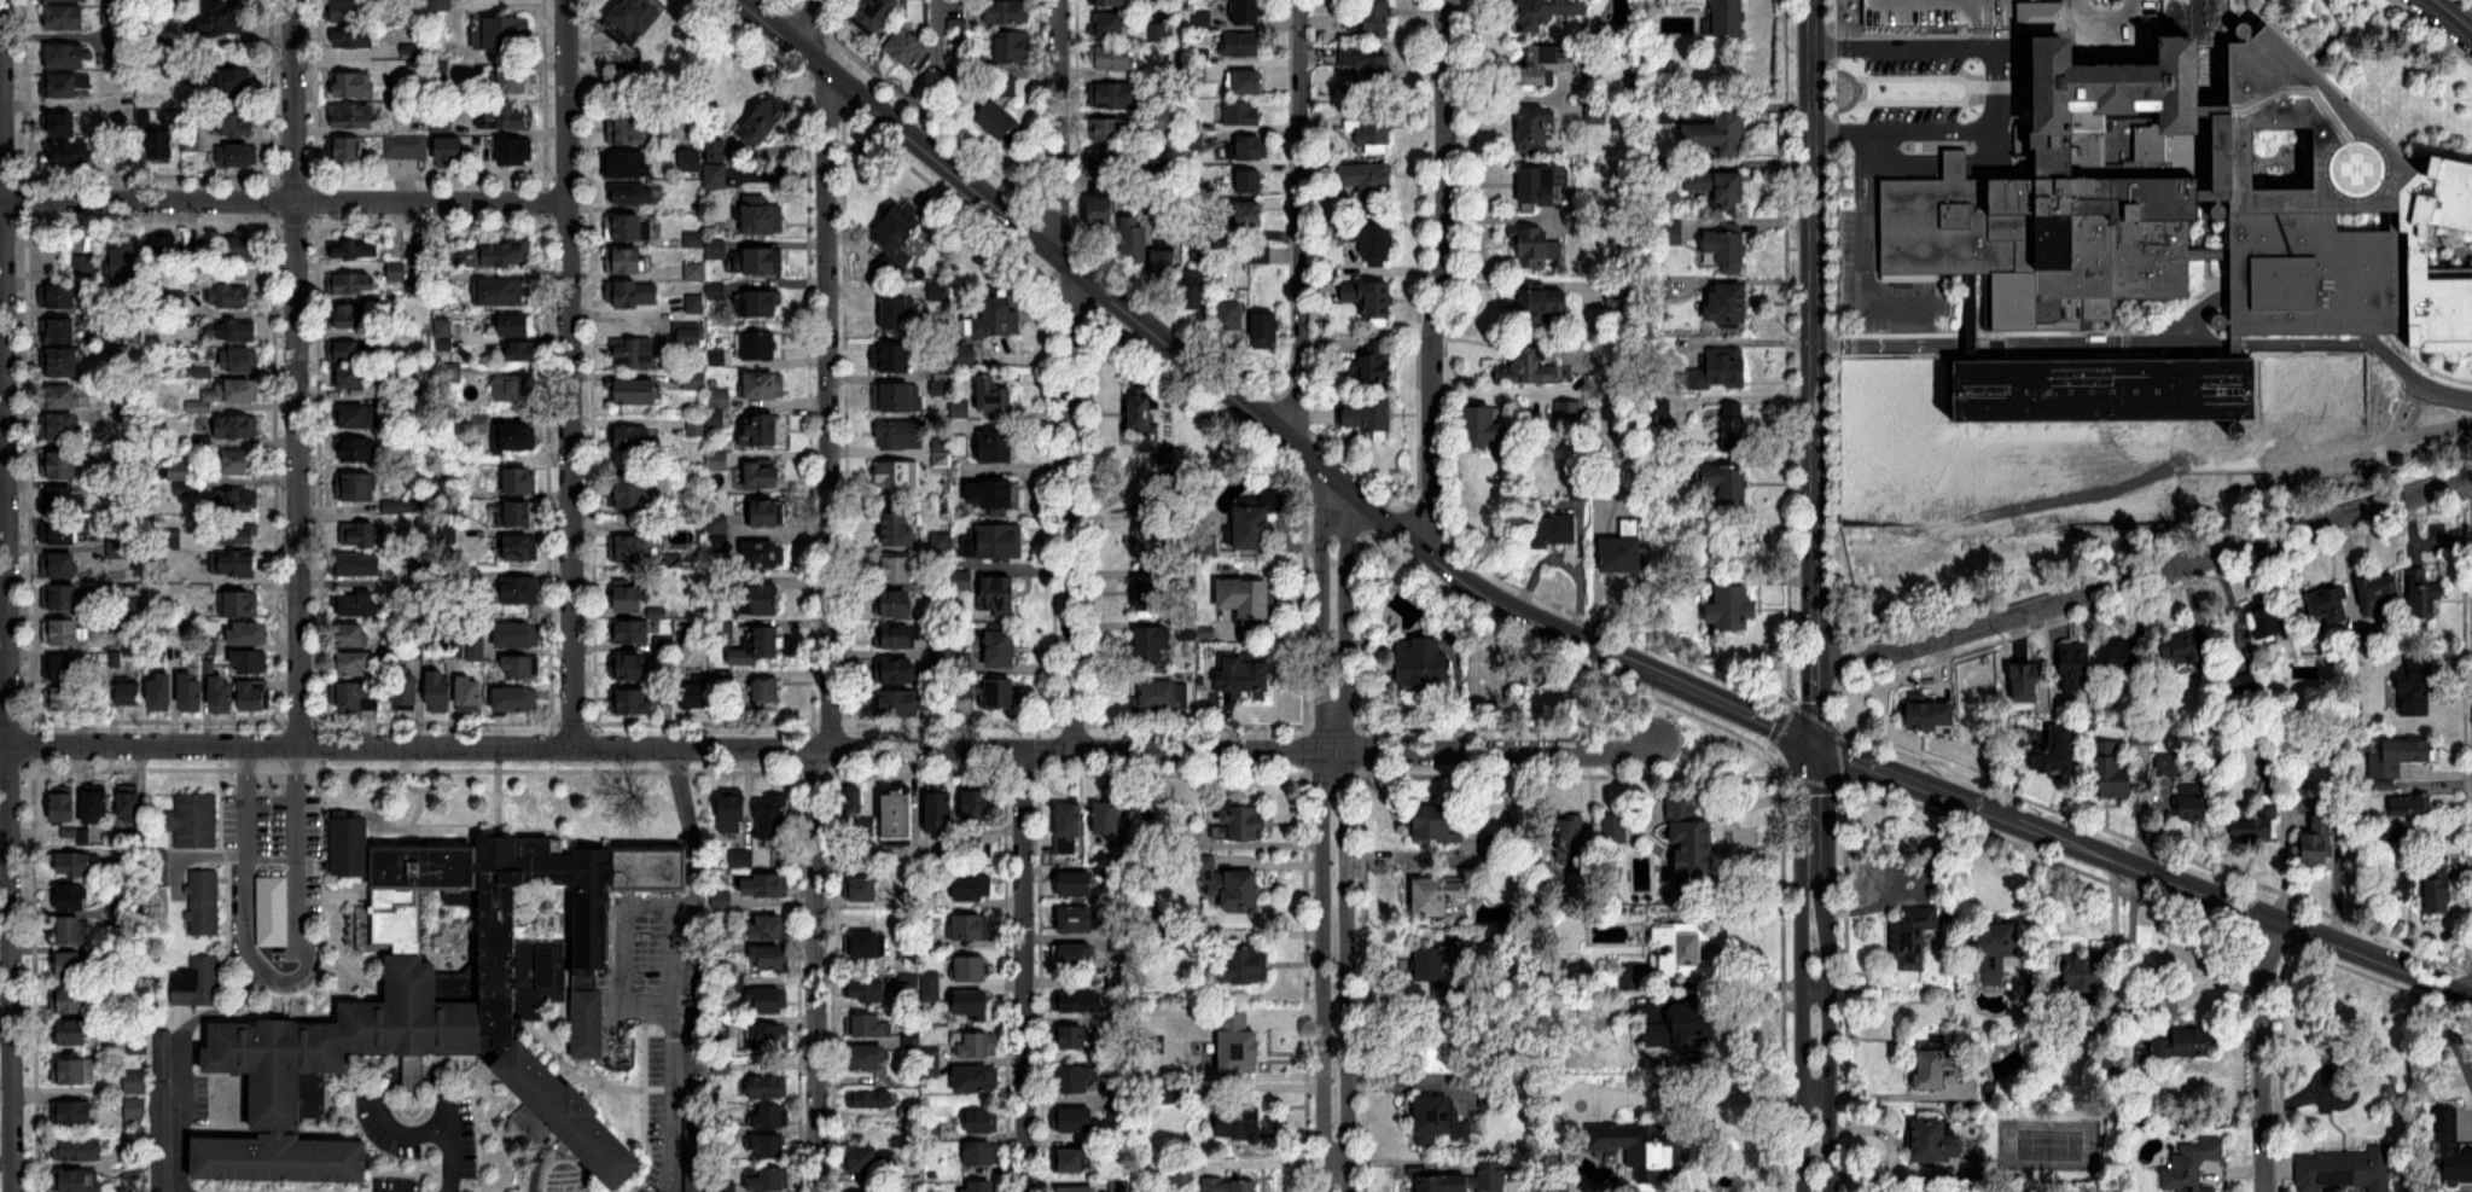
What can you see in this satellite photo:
building: (65, 1)
building: (1111, 2)
road: (2468, 2)
building: (345, 11)
building: (1007, 12)
building: (1249, 12)
building: (1545, 12)
building: (873, 13)
road: (2451, 13)
building: (223, 18)
building: (1731, 18)
building: (66, 19)
building: (636, 19)
building: (1369, 19)
building: (1112, 24)
road: (1181, 24)
road: (2433, 29)
building: (506, 35)
building: (354, 39)
road: (1900, 43)
building: (1244, 45)
building: (908, 48)
building: (1013, 48)
building: (69, 58)
building: (1113, 58)
building: (1543, 66)
building: (1371, 68)
road: (965, 69)
building: (176, 70)
building: (234, 82)
building: (516, 82)
building: (1244, 83)
building: (354, 86)
building: (69, 87)
building: (1119, 97)
road: (1, 99)
road: (295, 101)
building: (1240, 115)
building: (353, 117)
building: (502, 118)
building: (764, 124)
building: (1002, 124)
building: (62, 126)
building: (238, 126)
building: (627, 129)
building: (1111, 130)
building: (1372, 130)
building: (1535, 133)
building: (1718, 135)
road: (1945, 135)
building: (163, 147)
building: (407, 147)
building: (1254, 149)
building: (347, 150)
building: (717, 152)
building: (454, 153)
building: (516, 153)
building: (69, 156)
building: (235, 156)
building: (690, 161)
building: (1118, 161)
building: (628, 165)
helipad: (2344, 173)
helipad: (2355, 175)
building: (716, 176)
building: (1251, 182)
building: (1369, 182)
building: (1700, 184)
building: (1540, 186)
building: (1732, 193)
building: (632, 194)
road: (147, 200)
road: (434, 203)
building: (1104, 210)
building: (762, 215)
building: (1251, 215)
building: (626, 226)
road: (1299, 226)
building: (901, 233)
building: (1671, 234)
building: (1135, 239)
building: (1371, 239)
building: (234, 245)
building: (165, 246)
building: (353, 249)
building: (1537, 249)
building: (507, 251)
building: (1728, 252)
building: (1260, 255)
building: (124, 257)
building: (628, 260)
building: (764, 260)
building: (1164, 264)
building: (83, 266)
building: (397, 271)
building: (2199, 271)
road: (1442, 278)
building: (353, 281)
building: (505, 290)
building: (1194, 290)
building: (633, 292)
building: (227, 295)
building: (58, 296)
road: (2264, 297)
building: (1372, 301)
building: (760, 303)
building: (1729, 306)
building: (1541, 308)
building: (900, 313)
building: (347, 315)
building: (996, 316)
building: (1233, 319)
building: (518, 324)
building: (59, 330)
building: (233, 331)
building: (1266, 331)
road: (2323, 343)
building: (761, 344)
road: (1984, 344)
building: (523, 350)
building: (636, 353)
building: (892, 356)
building: (238, 360)
building: (63, 362)
building: (349, 362)
building: (1374, 367)
building: (1524, 368)
building: (1721, 371)
road: (571, 374)
road: (830, 374)
road: (1070, 374)
building: (764, 385)
building: (514, 388)
building: (636, 391)
building: (995, 394)
building: (226, 395)
building: (898, 396)
building: (64, 397)
building: (719, 397)
building: (1141, 411)
building: (357, 415)
building: (1367, 418)
building: (1733, 424)
building: (62, 426)
building: (237, 426)
building: (1484, 429)
building: (762, 430)
building: (901, 432)
building: (514, 435)
building: (630, 436)
building: (996, 446)
building: (357, 449)
building: (239, 461)
building: (60, 464)
road: (4, 465)
building: (897, 472)
building: (764, 473)
road: (299, 475)
building: (520, 479)
road: (1339, 482)
building: (1728, 483)
building: (356, 485)
building: (633, 490)
building: (996, 495)
building: (59, 499)
building: (239, 501)
building: (518, 512)
building: (768, 512)
building: (1262, 516)
building: (900, 528)
building: (1552, 528)
building: (59, 530)
building: (360, 533)
building: (235, 534)
building: (994, 541)
building: (1153, 545)
building: (519, 546)
building: (629, 546)
building: (117, 548)
building: (1625, 550)
building: (762, 553)
building: (233, 563)
building: (60, 564)
building: (355, 564)
building: (896, 568)
road: (2145, 577)
building: (520, 588)
building: (2381, 589)
building: (996, 594)
building: (1151, 594)
building: (1247, 595)
road: (1814, 595)
building: (65, 597)
building: (630, 597)
building: (764, 597)
building: (240, 603)
building: (895, 603)
building: (2330, 603)
building: (357, 604)
building: (1733, 610)
building: (2269, 621)
building: (685, 628)
building: (632, 630)
building: (62, 632)
building: (249, 633)
building: (518, 634)
building: (354, 635)
building: (896, 635)
building: (171, 636)
building: (1154, 644)
building: (758, 645)
building: (476, 649)
building: (1002, 649)
building: (2188, 651)
building: (2122, 657)
building: (250, 662)
building: (1424, 662)
building: (355, 663)
building: (522, 665)
building: (629, 665)
building: (63, 667)
building: (2077, 667)
building: (896, 670)
building: (1247, 679)
building: (2025, 682)
building: (2247, 684)
building: (440, 691)
building: (192, 692)
building: (407, 692)
building: (1002, 692)
building: (130, 693)
building: (162, 693)
building: (470, 693)
building: (768, 693)
road: (7, 694)
building: (222, 694)
building: (1165, 694)
building: (254, 696)
building: (66, 698)
building: (355, 698)
building: (517, 698)
building: (633, 700)
building: (696, 700)
building: (905, 703)
building: (1933, 714)
traffic signals: (1815, 743)
road: (831, 749)
building: (2060, 751)
building: (2400, 755)
building: (2169, 766)
building: (2112, 773)
building: (851, 801)
building: (129, 804)
building: (97, 806)
building: (2410, 806)
building: (64, 807)
building: (2197, 808)
building: (978, 810)
building: (940, 812)
building: (734, 813)
building: (901, 814)
building: (773, 816)
building: (1109, 818)
building: (193, 821)
building: (1243, 824)
building: (2261, 824)
building: (1070, 827)
building: (1441, 827)
building: (1616, 828)
building: (2391, 832)
road: (1336, 833)
road: (696, 838)
building: (1572, 842)
building: (2317, 842)
building: (353, 845)
building: (1496, 845)
building: (1695, 847)
building: (741, 859)
building: (76, 865)
road: (5, 876)
building: (2403, 879)
building: (1078, 883)
building: (1228, 883)
building: (766, 884)
building: (975, 886)
building: (865, 888)
building: (2439, 894)
building: (1439, 895)
building: (72, 897)
road: (2029, 899)
building: (203, 902)
road: (2249, 913)
building: (1078, 919)
building: (770, 926)
building: (971, 926)
building: (71, 930)
building: (1122, 935)
road: (1057, 936)
building: (1913, 936)
building: (1171, 940)
building: (867, 943)
road: (621, 947)
building: (1683, 948)
building: (1997, 950)
building: (1075, 954)
building: (770, 956)
building: (1240, 964)
building: (1437, 964)
building: (75, 965)
building: (972, 967)
road: (818, 970)
road: (1025, 970)
road: (285, 976)
building: (2087, 976)
building: (1606, 979)
building: (198, 982)
road: (1741, 983)
building: (868, 990)
building: (70, 1000)
building: (770, 1000)
building: (1078, 1001)
building: (442, 1005)
building: (972, 1005)
building: (1170, 1021)
road: (5, 1023)
building: (591, 1024)
building: (869, 1025)
building: (71, 1031)
building: (1685, 1033)
building: (764, 1035)
building: (1070, 1037)
building: (1241, 1042)
building: (2188, 1042)
building: (975, 1043)
building: (1444, 1043)
road: (180, 1057)
road: (2262, 1057)
building: (869, 1058)
road: (675, 1060)
building: (1938, 1068)
building: (70, 1071)
building: (976, 1078)
building: (1078, 1078)
building: (136, 1081)
building: (769, 1087)
road: (386, 1089)
building: (871, 1099)
road: (1704, 1101)
building: (136, 1109)
building: (72, 1113)
building: (772, 1117)
building: (1072, 1120)
building: (982, 1121)
building: (1441, 1121)
building: (1241, 1123)
building: (1938, 1141)
building: (769, 1147)
building: (1645, 1149)
building: (76, 1150)
building: (983, 1155)
road: (456, 1158)
building: (865, 1158)
road: (6, 1161)
building: (1071, 1161)
building: (2192, 1164)
building: (2344, 1169)
building: (1182, 1171)
building: (77, 1180)
building: (769, 1181)
building: (1467, 1181)
building: (1228, 1182)
building: (984, 1186)
building: (1121, 1187)
building: (1076, 1188)

